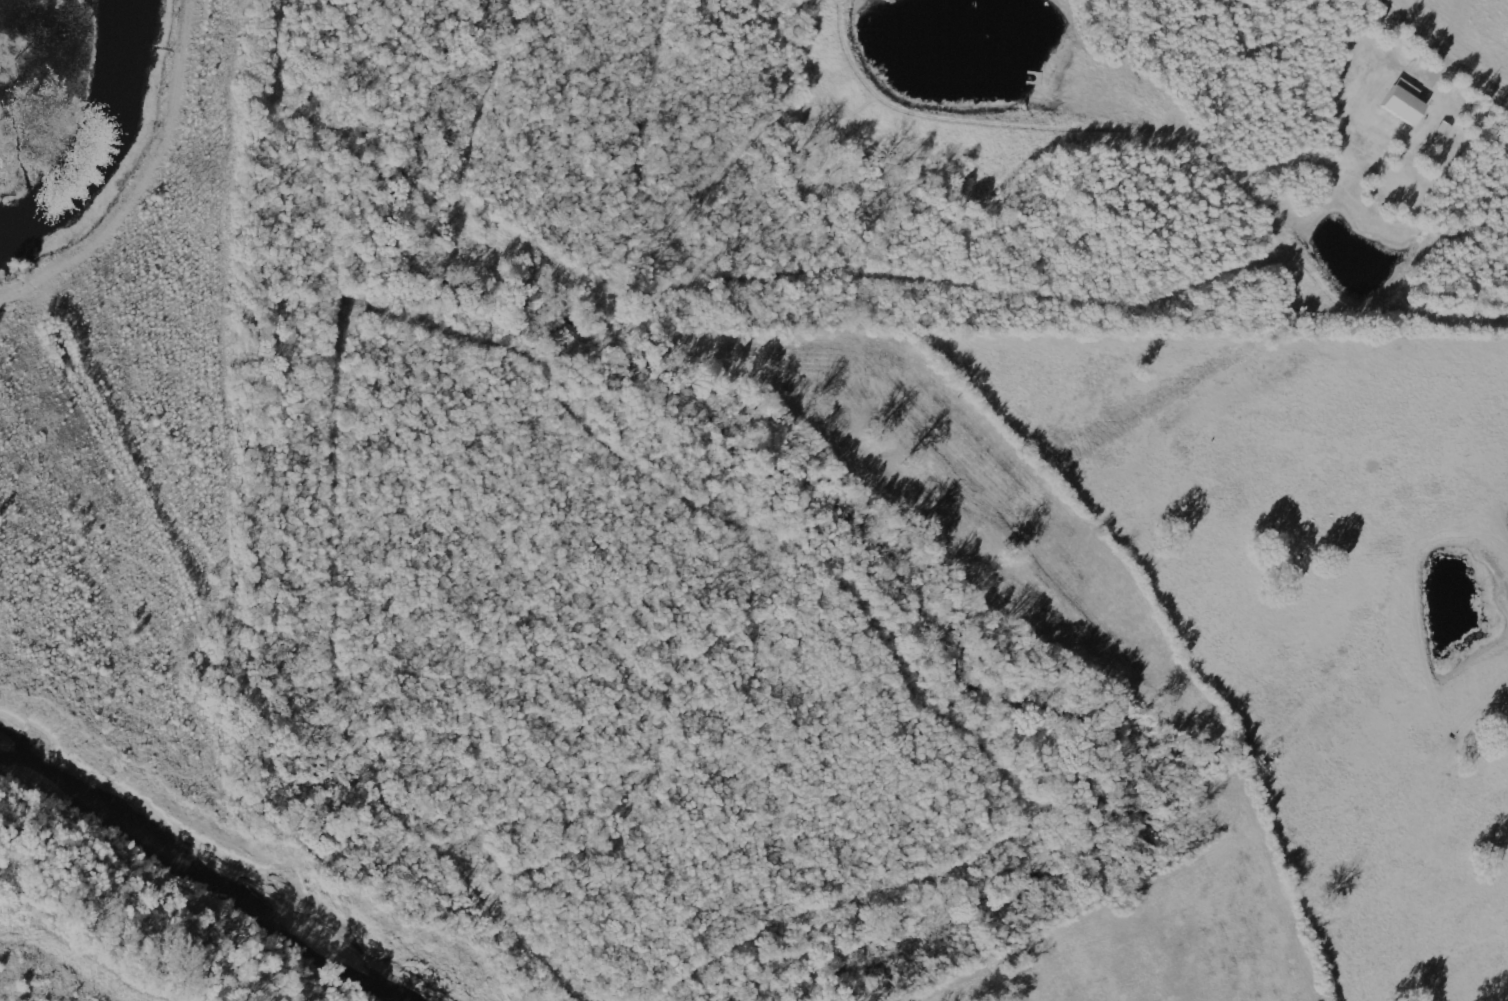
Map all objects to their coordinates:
building: (1399, 101)
road: (1367, 846)
river: (205, 876)

